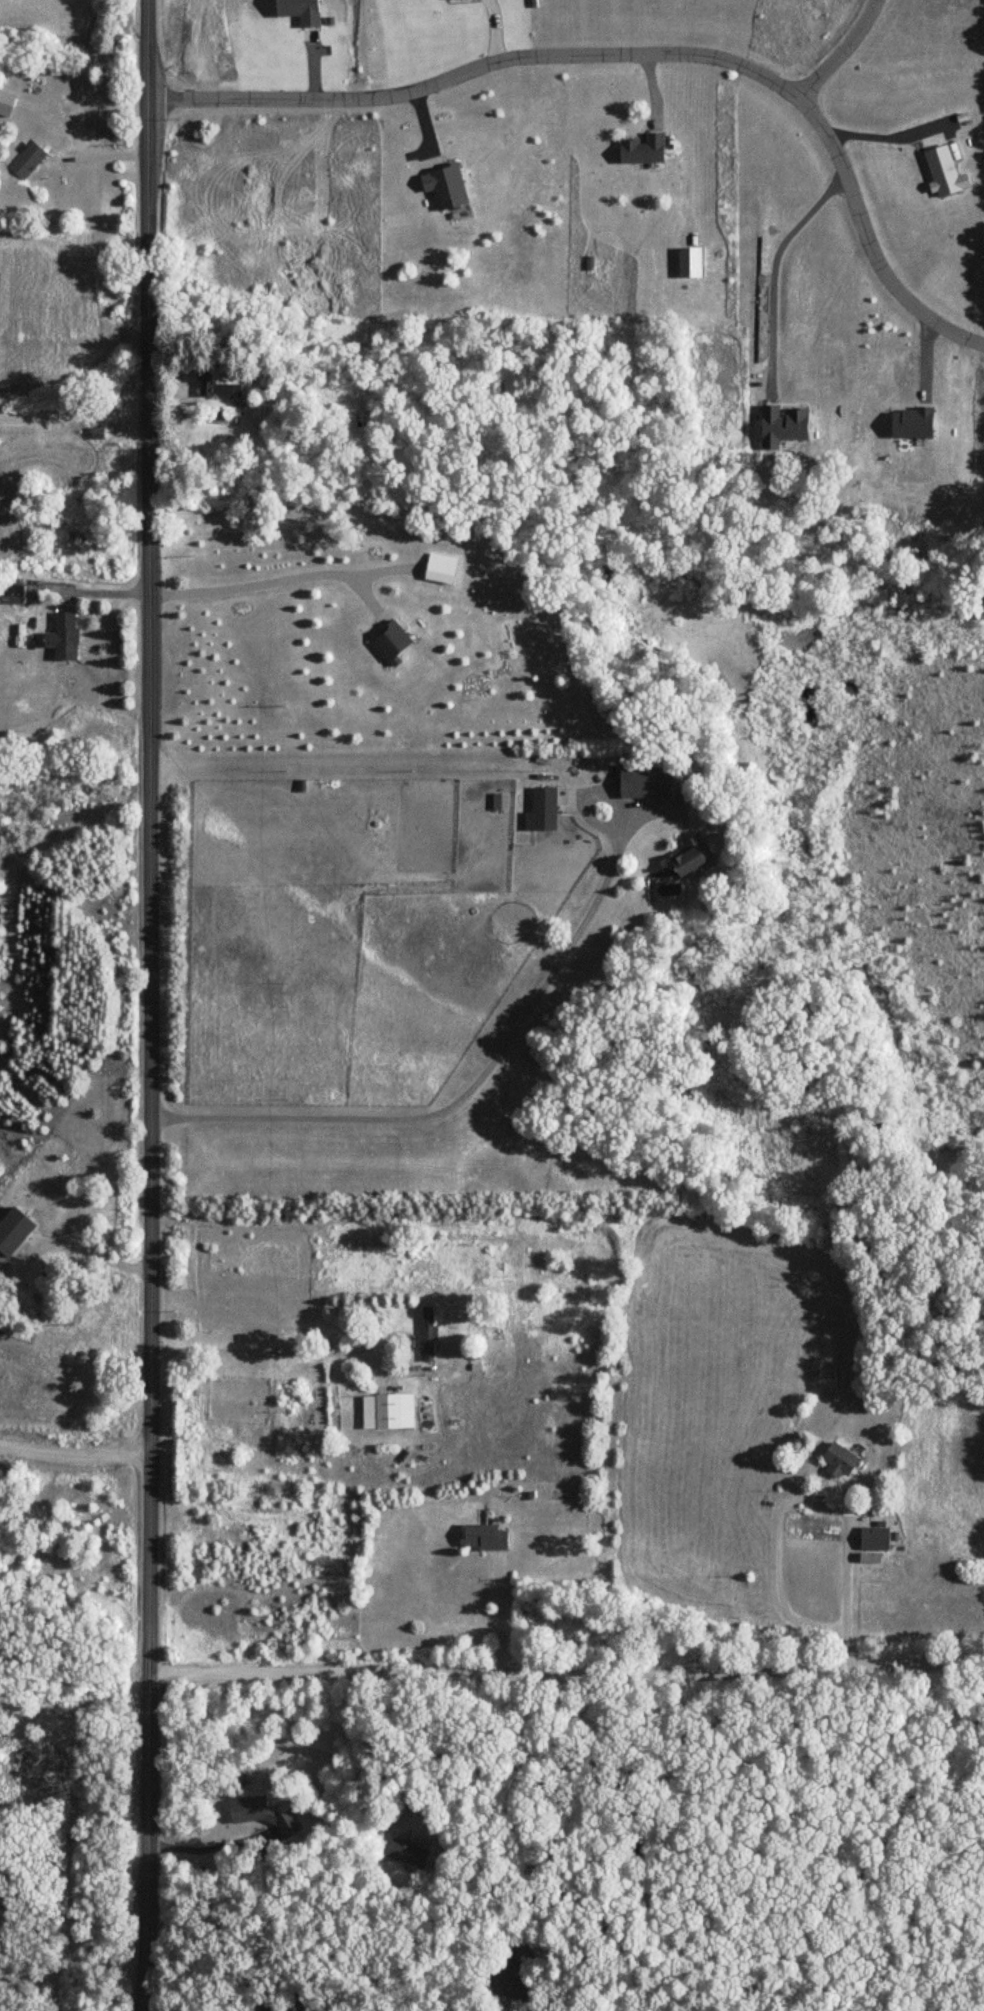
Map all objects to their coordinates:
road: (841, 52)
road: (637, 53)
building: (36, 88)
building: (5, 104)
road: (877, 123)
building: (641, 150)
building: (25, 161)
road: (831, 309)
building: (202, 368)
road: (73, 402)
building: (438, 572)
road: (263, 582)
building: (11, 593)
building: (61, 635)
building: (388, 640)
building: (642, 782)
building: (540, 809)
building: (687, 855)
road: (151, 1005)
road: (468, 1089)
road: (80, 1246)
building: (428, 1334)
road: (267, 1349)
building: (392, 1411)
road: (74, 1457)
building: (837, 1461)
road: (804, 1492)
building: (483, 1537)
building: (873, 1538)
road: (500, 1621)
road: (566, 1675)
road: (516, 1786)
building: (245, 1809)
road: (881, 1842)
road: (199, 1849)
building: (406, 1853)
building: (507, 1974)
building: (269, 2009)

